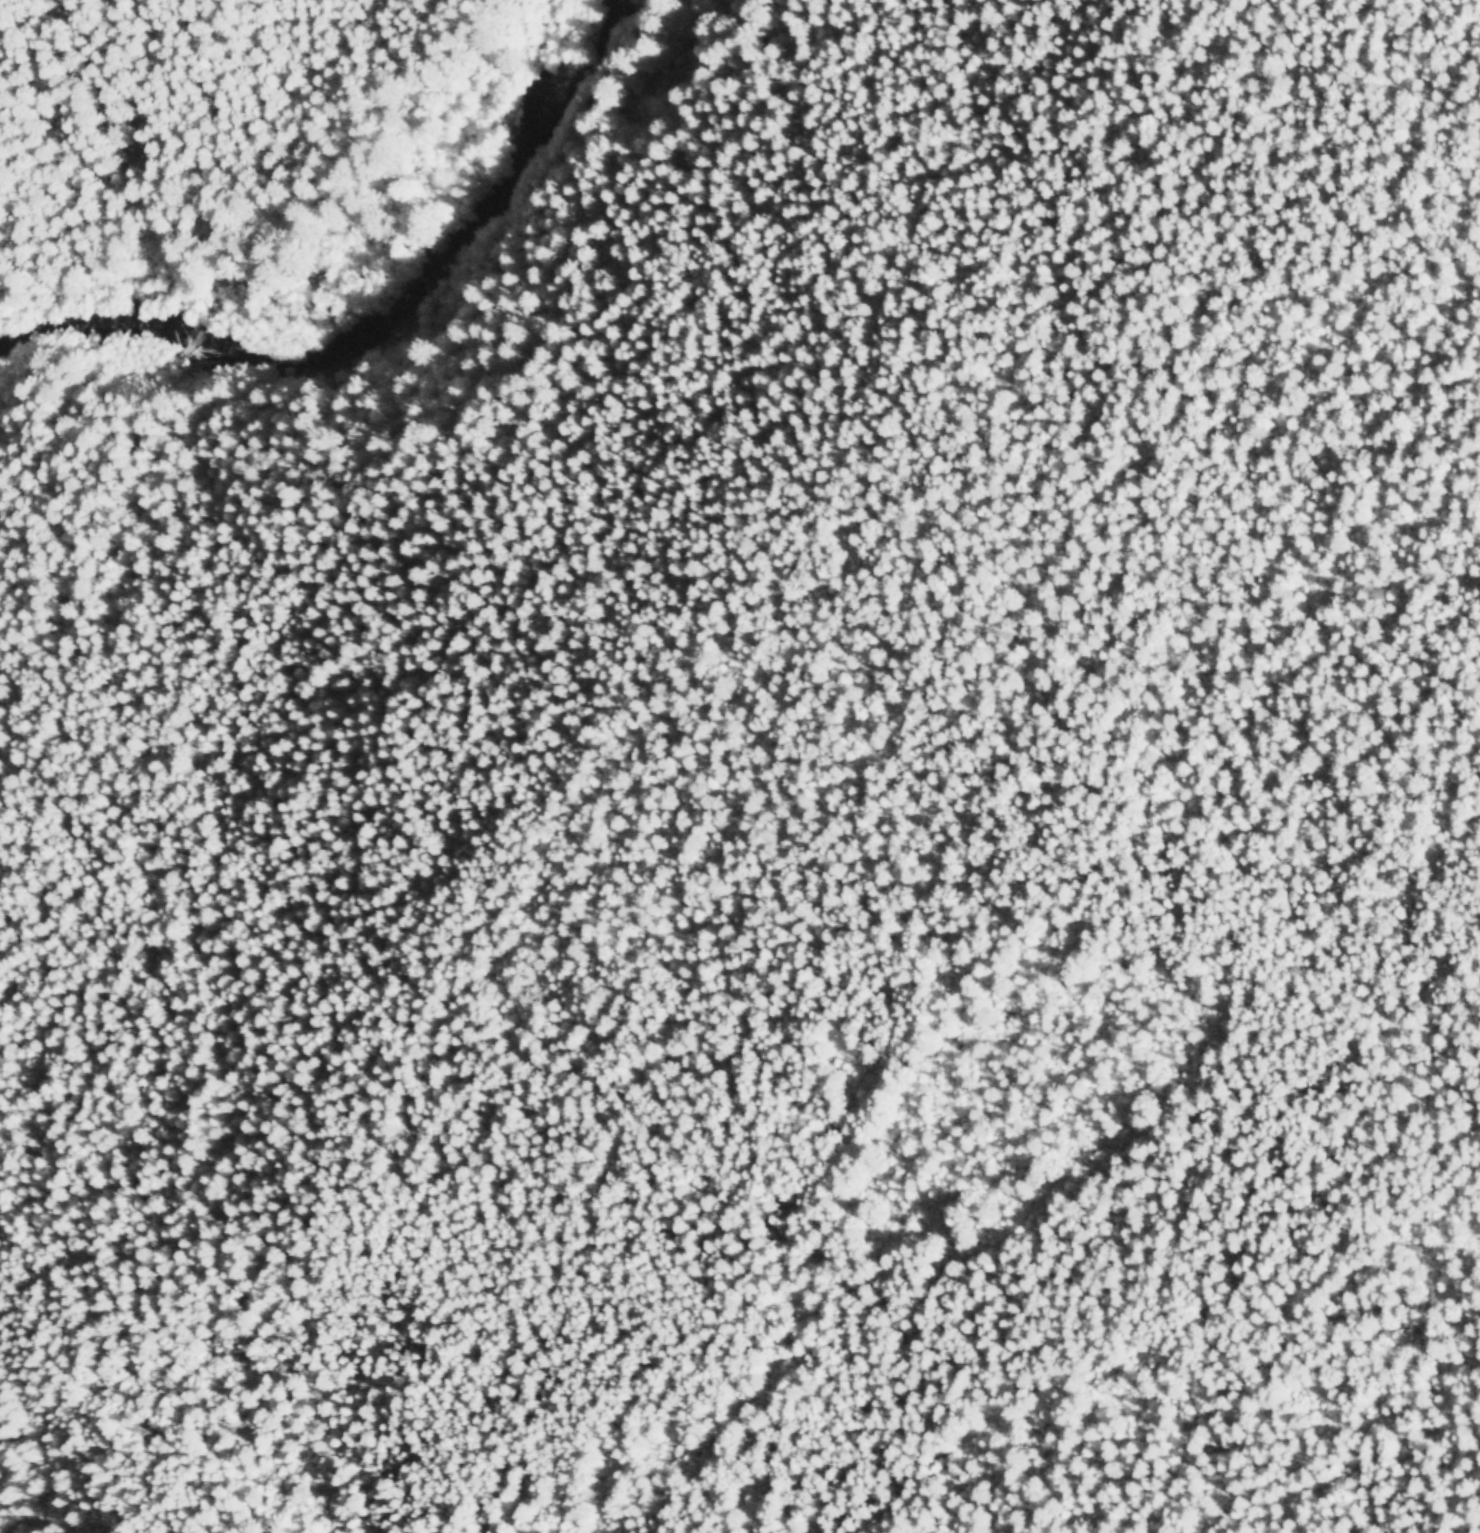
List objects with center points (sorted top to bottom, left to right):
river: (366, 314)

